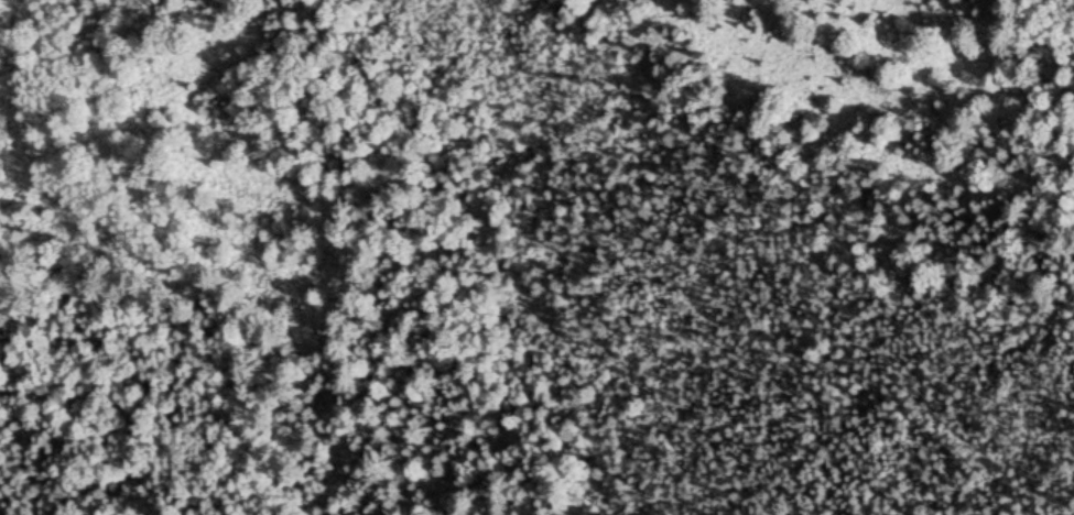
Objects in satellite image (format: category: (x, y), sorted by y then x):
road: (9, 36)

